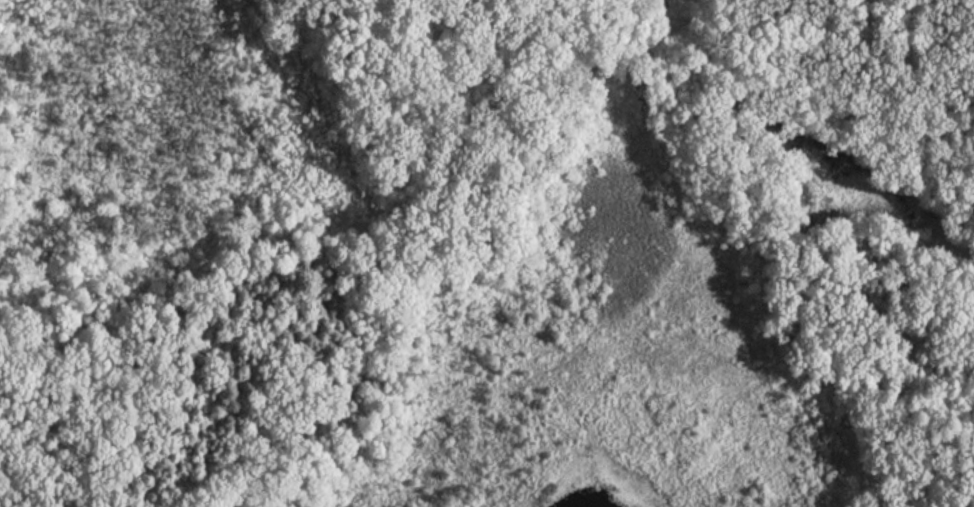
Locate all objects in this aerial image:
road: (768, 233)
park: (487, 253)

